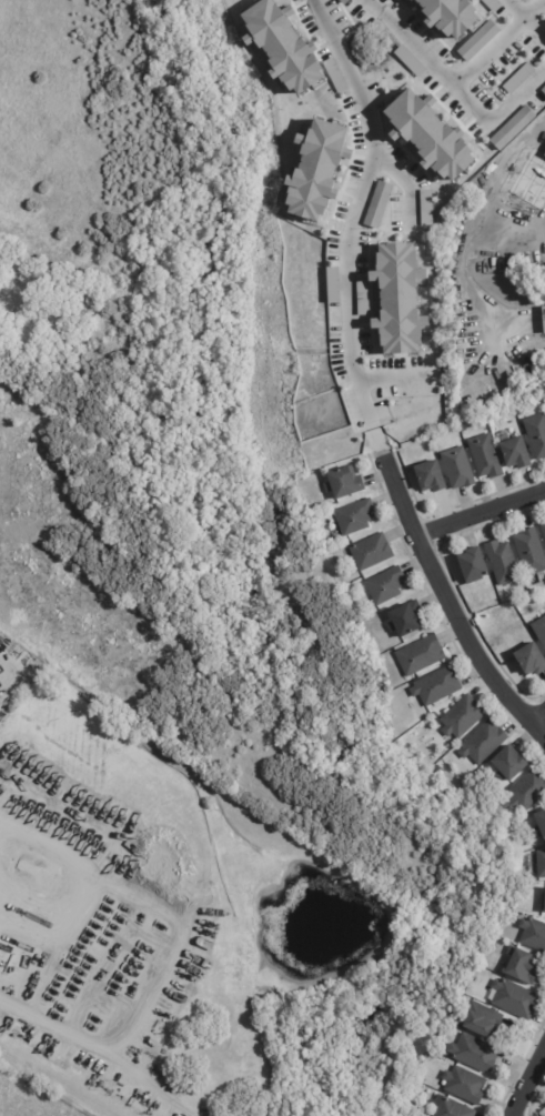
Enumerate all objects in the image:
road: (527, 19)
building: (477, 41)
road: (498, 41)
building: (282, 46)
building: (335, 76)
road: (457, 86)
building: (543, 90)
building: (512, 128)
building: (430, 135)
building: (544, 155)
building: (316, 170)
road: (405, 180)
building: (377, 204)
building: (425, 208)
road: (354, 209)
road: (473, 221)
building: (538, 277)
building: (332, 284)
building: (397, 299)
building: (10, 305)
building: (362, 310)
building: (544, 316)
road: (394, 378)
building: (536, 435)
road: (384, 446)
building: (515, 454)
building: (485, 458)
building: (457, 470)
building: (430, 477)
building: (344, 484)
road: (483, 512)
building: (354, 517)
building: (543, 530)
building: (371, 553)
building: (531, 553)
building: (503, 564)
building: (473, 566)
building: (385, 586)
road: (455, 606)
building: (406, 621)
building: (539, 632)
building: (420, 656)
building: (531, 662)
building: (436, 687)
building: (463, 717)
road: (541, 717)
building: (483, 744)
building: (509, 766)
building: (526, 793)
building: (539, 827)
building: (541, 865)
building: (544, 903)
building: (544, 912)
building: (533, 934)
road: (169, 947)
building: (522, 965)
building: (515, 998)
building: (481, 1019)
building: (474, 1053)
building: (465, 1085)
road: (532, 1089)
building: (450, 1107)
building: (426, 1115)

